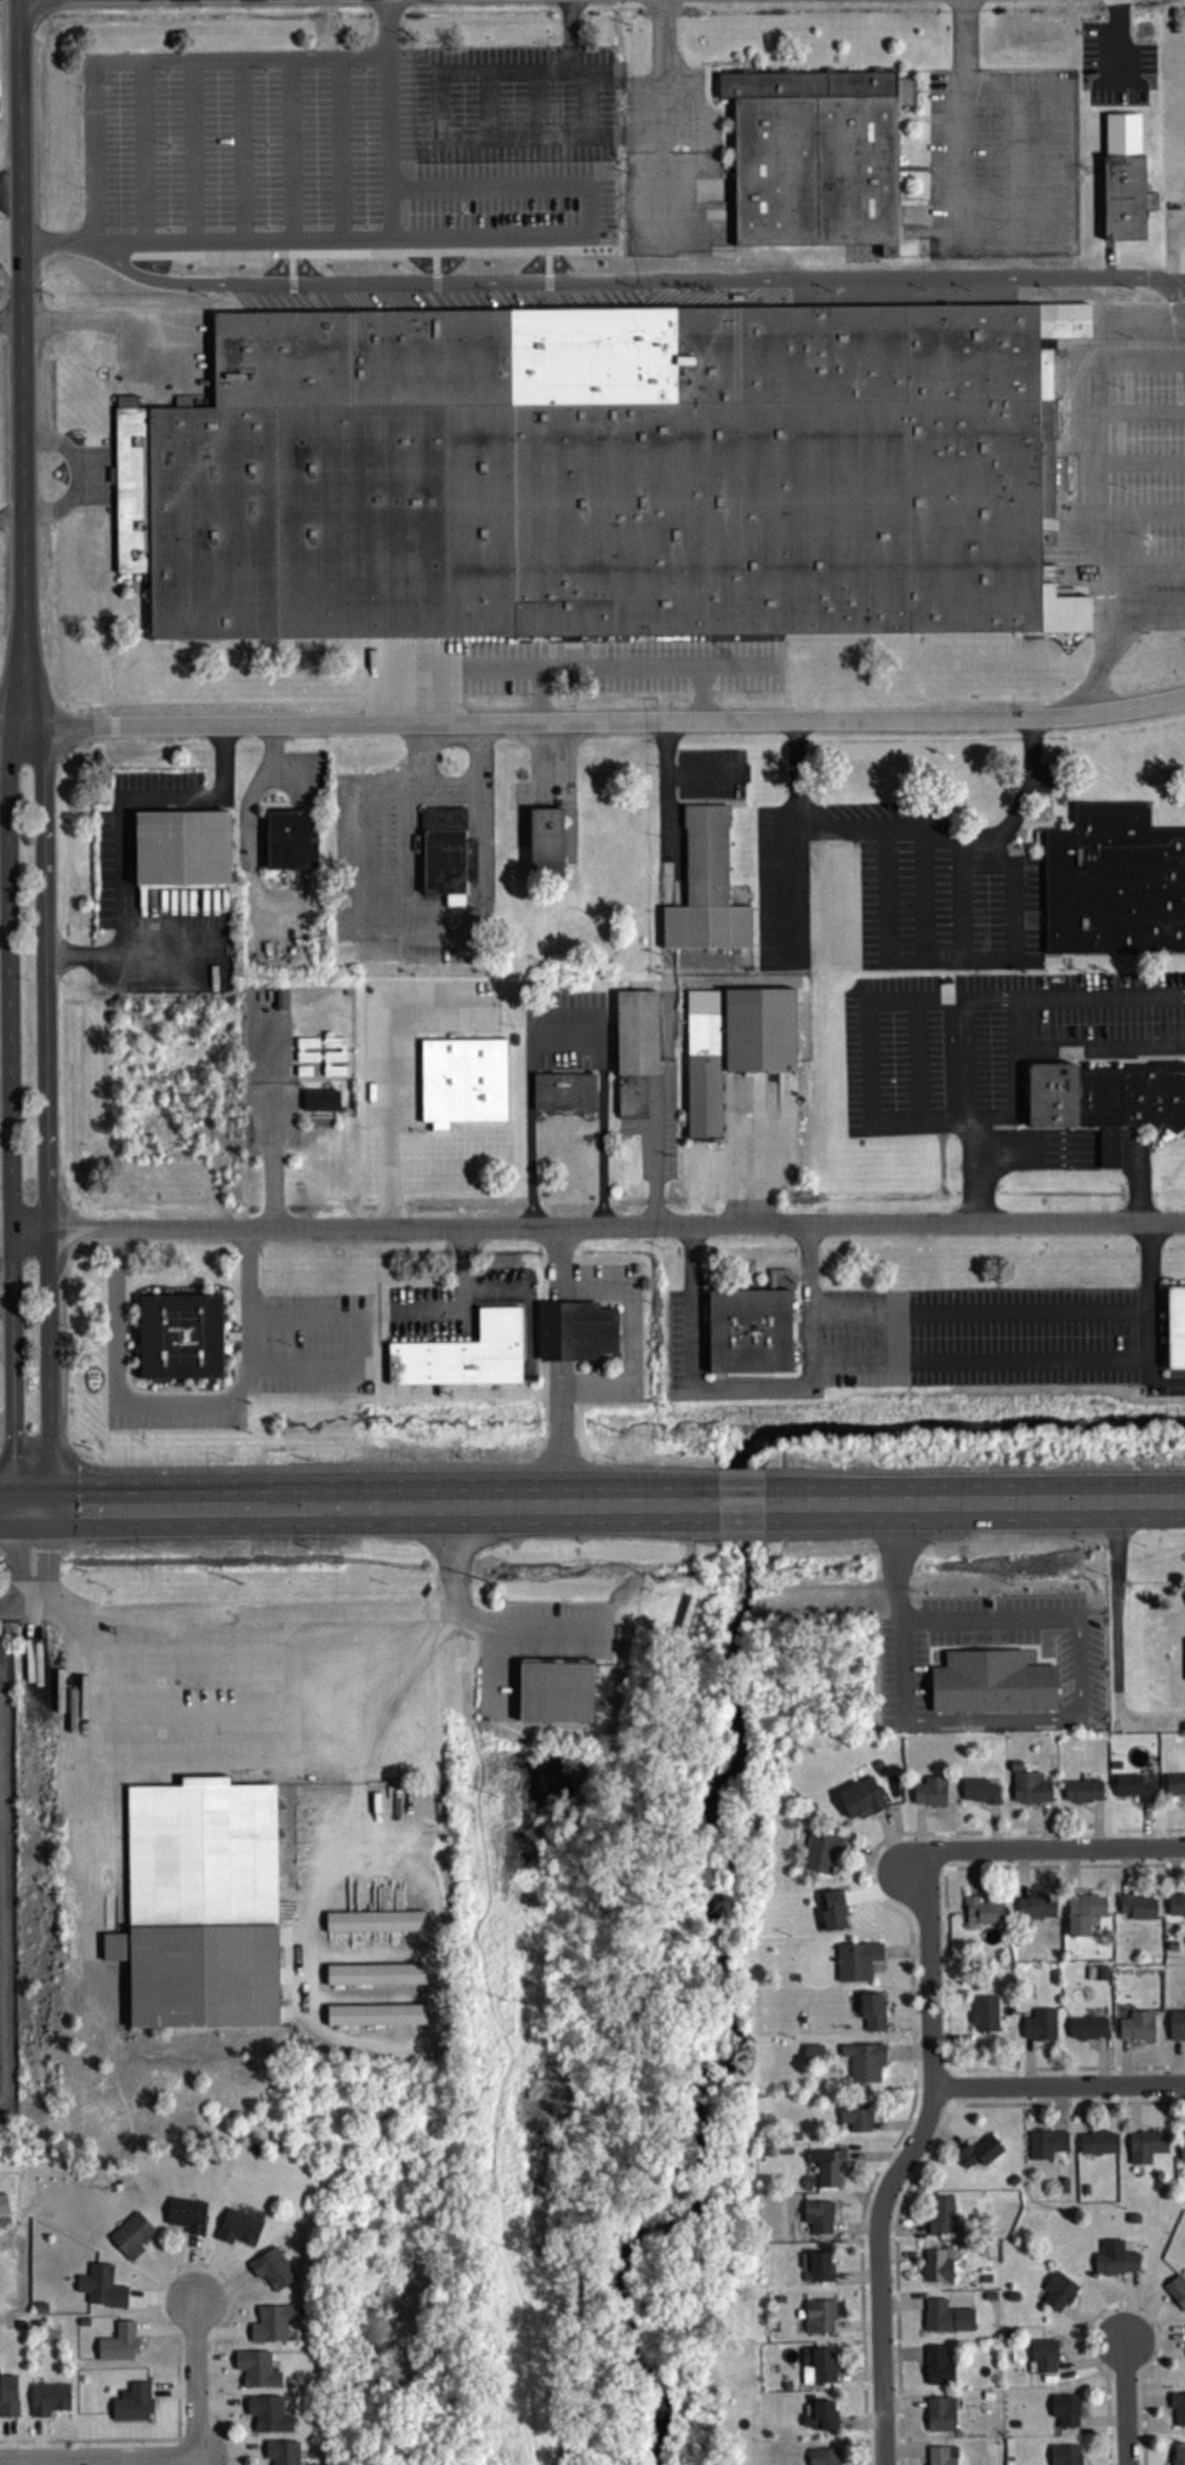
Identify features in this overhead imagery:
road: (965, 39)
road: (149, 62)
road: (666, 116)
building: (815, 155)
building: (1123, 182)
road: (11, 204)
road: (1061, 230)
road: (513, 239)
road: (11, 252)
road: (637, 288)
road: (11, 315)
road: (98, 315)
road: (22, 362)
road: (1099, 433)
building: (600, 472)
road: (76, 473)
road: (11, 512)
road: (1117, 639)
road: (740, 665)
road: (646, 666)
road: (492, 668)
road: (593, 718)
road: (418, 756)
road: (475, 756)
road: (272, 767)
road: (677, 773)
road: (125, 827)
road: (911, 835)
building: (294, 838)
building: (545, 846)
building: (186, 848)
building: (443, 854)
building: (1115, 881)
building: (705, 893)
road: (469, 921)
building: (281, 1003)
road: (1015, 1029)
building: (734, 1043)
building: (634, 1044)
road: (564, 1049)
road: (916, 1065)
road: (866, 1066)
road: (392, 1075)
building: (463, 1078)
building: (564, 1088)
road: (958, 1093)
building: (1105, 1100)
building: (320, 1104)
road: (47, 1109)
road: (10, 1112)
flagpole: (422, 1129)
road: (1065, 1137)
road: (600, 1144)
road: (1058, 1144)
road: (528, 1145)
road: (654, 1148)
road: (1088, 1151)
building: (1107, 1152)
road: (1058, 1160)
road: (739, 1161)
road: (1058, 1169)
road: (976, 1173)
road: (598, 1230)
road: (5, 1232)
road: (6, 1305)
road: (976, 1316)
building: (575, 1328)
building: (1175, 1331)
road: (127, 1333)
road: (241, 1333)
building: (182, 1336)
building: (748, 1336)
parking lot: (314, 1340)
road: (6, 1343)
road: (361, 1343)
building: (465, 1353)
road: (978, 1366)
road: (689, 1377)
road: (1158, 1384)
road: (178, 1402)
road: (6, 1421)
road: (974, 1499)
traffic signals: (50, 1502)
road: (365, 1502)
road: (740, 1503)
road: (7, 1504)
traffic signals: (15, 1504)
road: (19, 1556)
road: (47, 1558)
road: (895, 1592)
road: (16, 1611)
road: (289, 1626)
road: (965, 1627)
building: (2, 1662)
building: (1184, 1662)
building: (556, 1686)
building: (991, 1687)
road: (353, 1707)
building: (1174, 1788)
building: (1027, 1791)
building: (1132, 1792)
building: (929, 1795)
building: (978, 1795)
building: (1081, 1795)
building: (860, 1803)
road: (343, 1849)
road: (1058, 1851)
building: (820, 1857)
building: (203, 1902)
building: (1175, 1908)
building: (1035, 1911)
building: (1136, 1911)
building: (832, 1915)
building: (981, 1917)
building: (1082, 1917)
building: (374, 1925)
building: (855, 1965)
building: (375, 1979)
building: (871, 2016)
building: (375, 2019)
building: (984, 2019)
building: (1038, 2030)
building: (1175, 2030)
building: (1134, 2031)
building: (1086, 2032)
building: (811, 2059)
building: (864, 2066)
road: (1060, 2083)
building: (855, 2120)
building: (1098, 2147)
building: (1181, 2148)
building: (1046, 2150)
building: (1145, 2150)
building: (978, 2156)
road: (906, 2158)
building: (826, 2170)
building: (186, 2219)
building: (940, 2219)
building: (817, 2220)
building: (238, 2232)
building: (131, 2239)
building: (1113, 2264)
building: (816, 2270)
building: (935, 2270)
building: (272, 2273)
building: (99, 2290)
building: (1177, 2295)
building: (1056, 2296)
building: (819, 2319)
building: (945, 2321)
building: (270, 2328)
building: (118, 2347)
building: (1042, 2359)
building: (817, 2370)
building: (936, 2370)
building: (255, 2373)
road: (190, 2381)
road: (1129, 2398)
building: (7, 2401)
building: (49, 2403)
building: (132, 2408)
building: (1178, 2413)
building: (1065, 2414)
building: (267, 2418)
building: (939, 2418)
building: (817, 2420)
building: (281, 2455)
building: (1177, 2455)
building: (1064, 2457)
building: (941, 2458)
building: (822, 2459)
road: (95, 2461)

